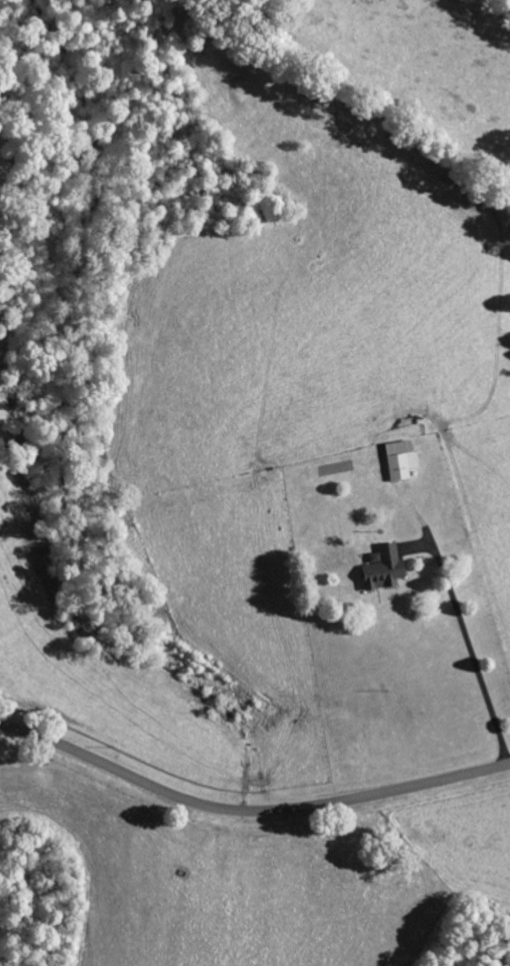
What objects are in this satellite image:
building: (381, 569)
road: (249, 811)

